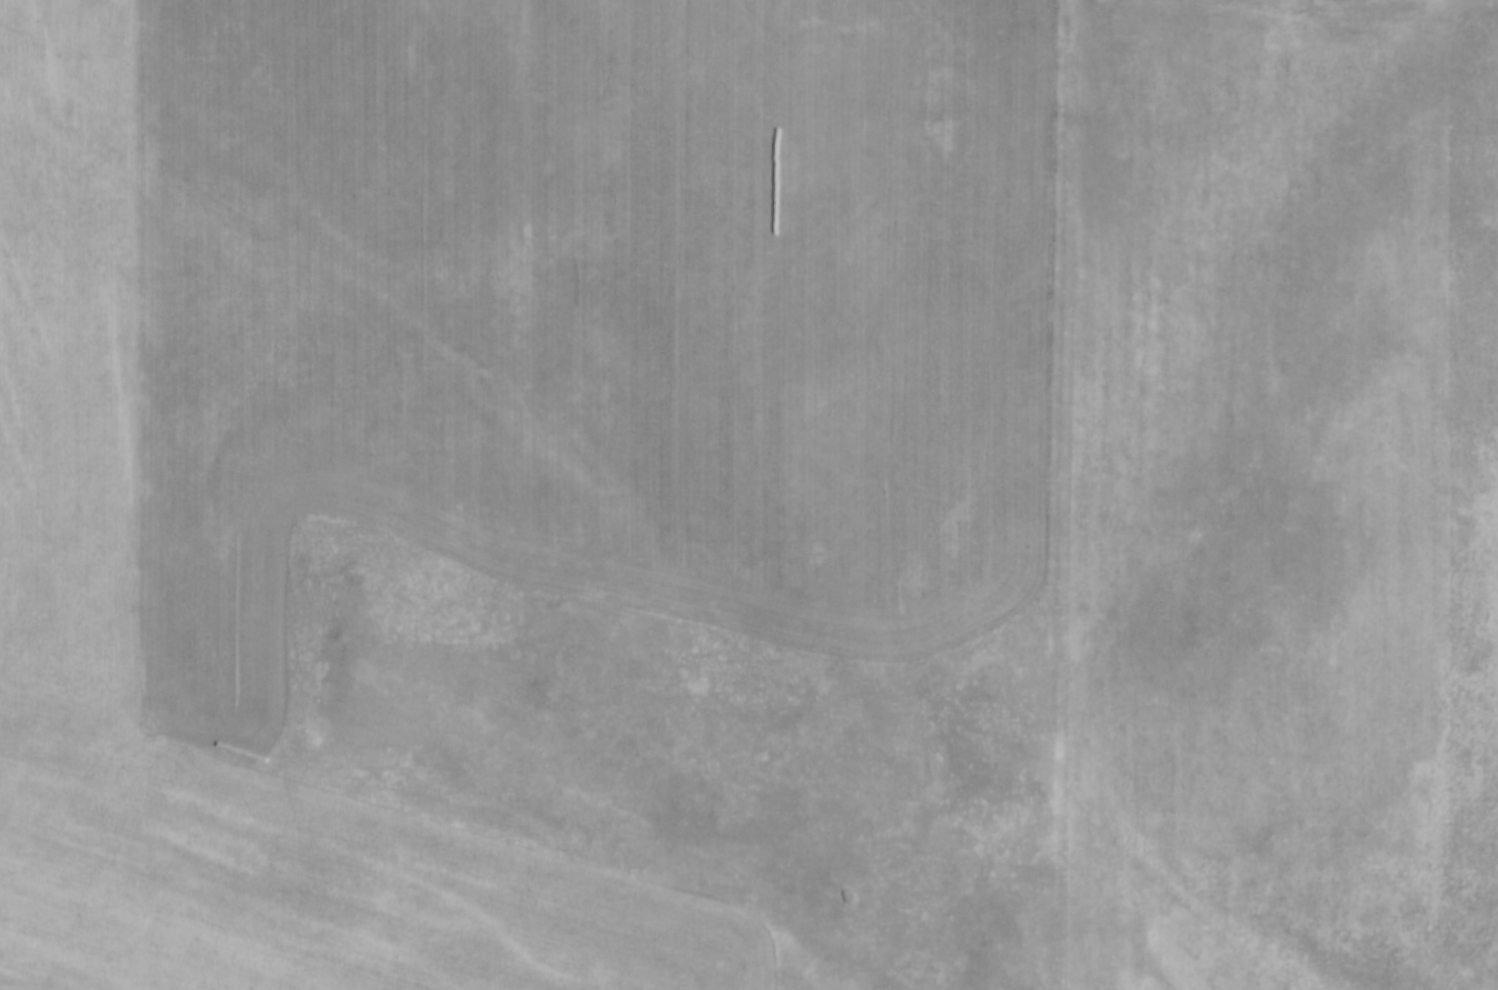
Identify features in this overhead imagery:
building: (1464, 829)

